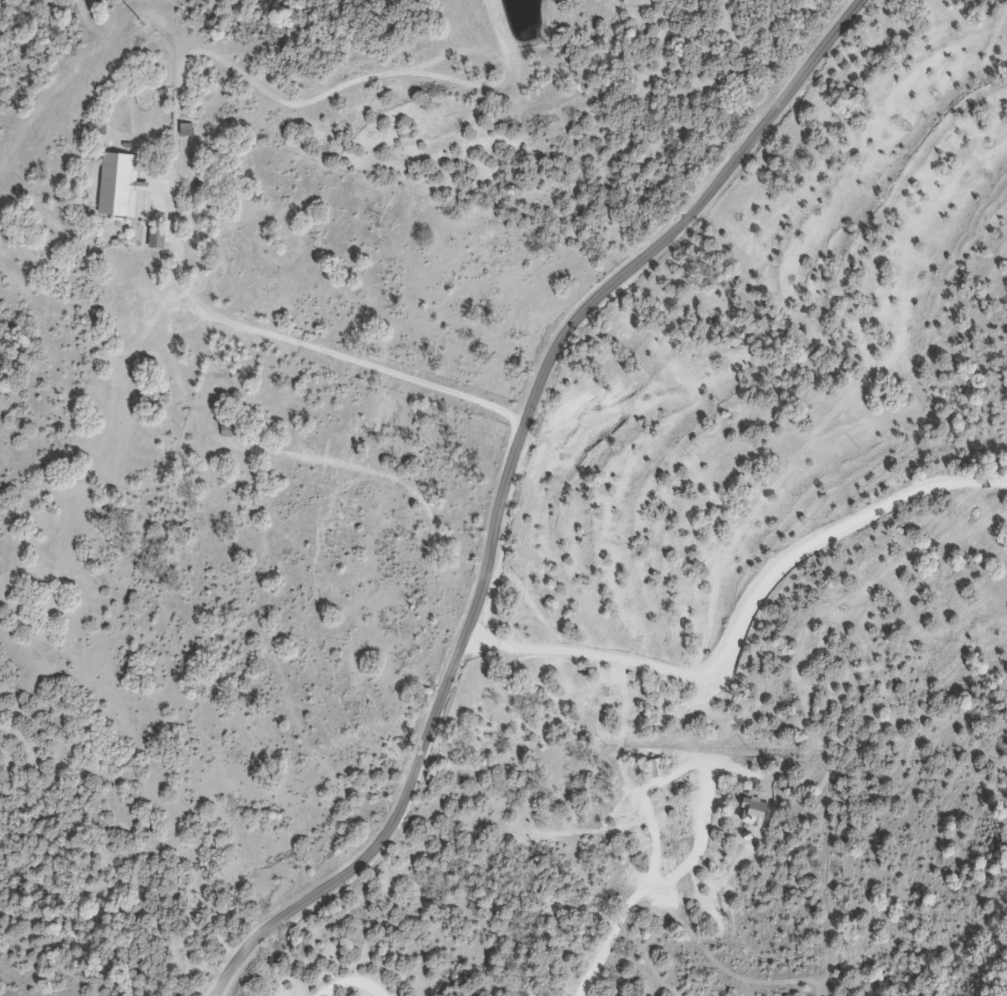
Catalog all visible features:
power tower: (143, 21)
building: (118, 185)
building: (155, 238)
road: (305, 345)
building: (225, 429)
road: (502, 483)

